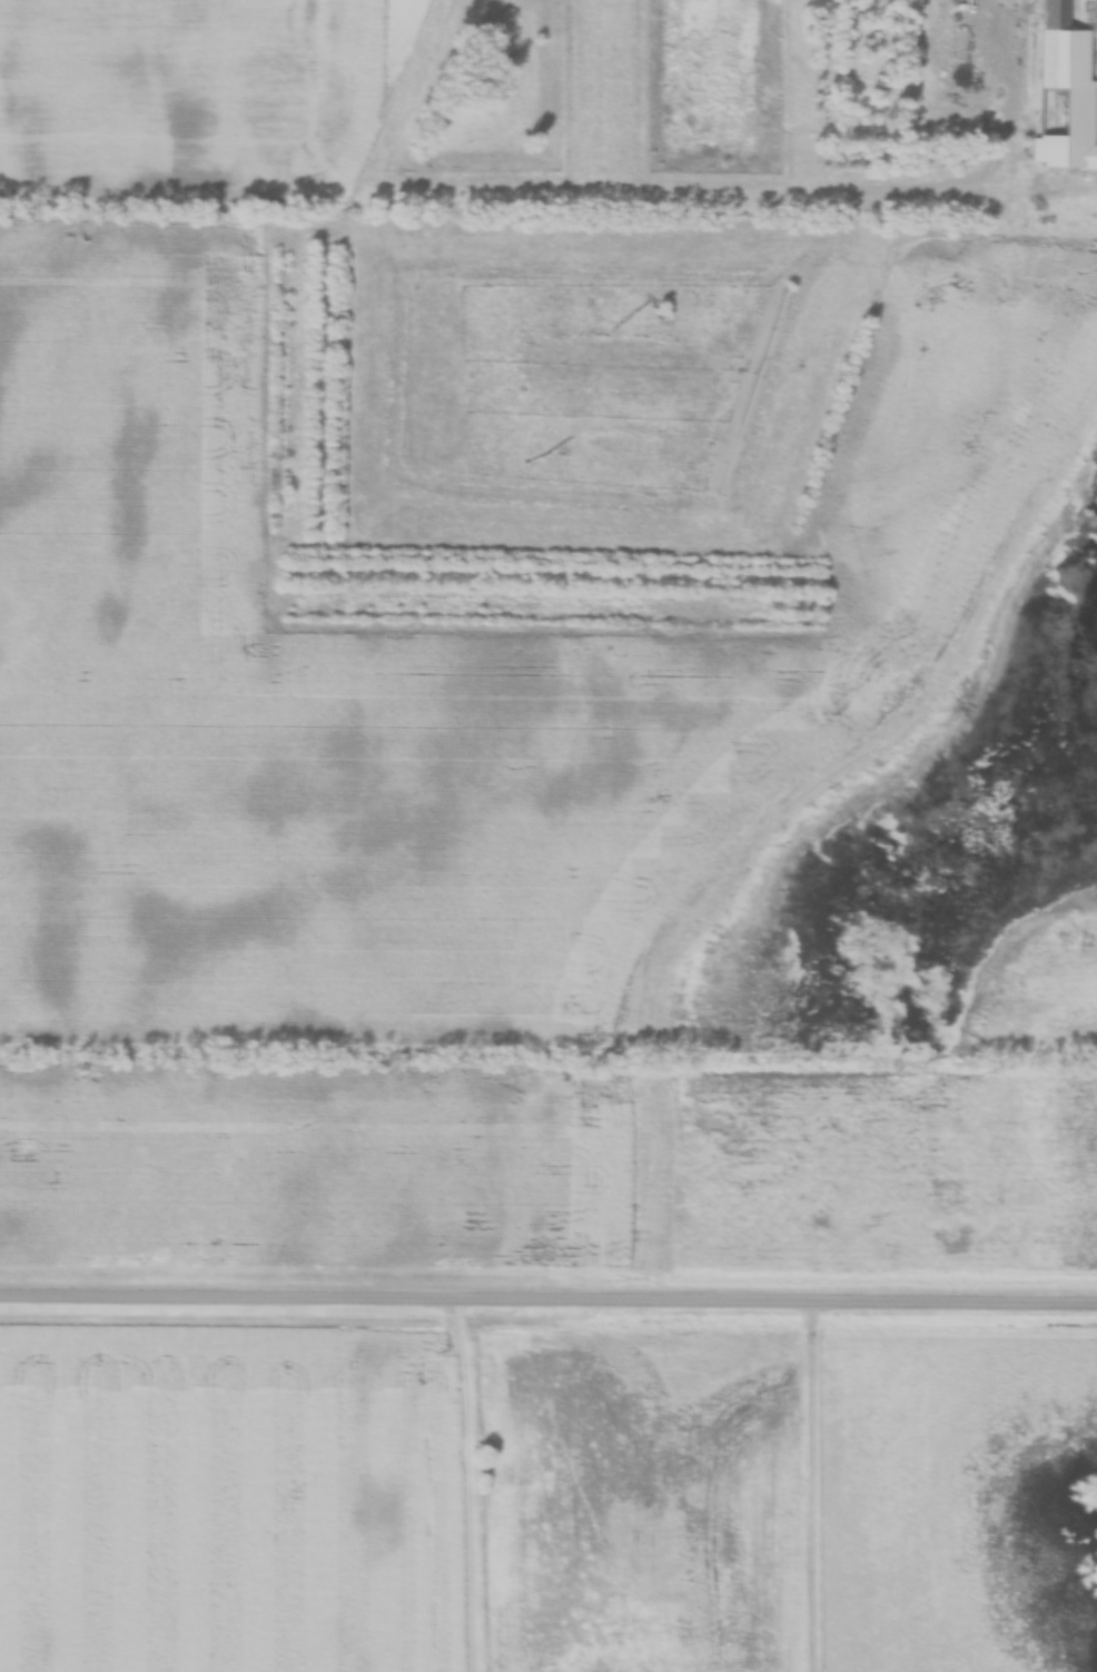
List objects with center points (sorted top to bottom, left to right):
building: (1063, 93)
road: (548, 1307)
road: (804, 1491)

